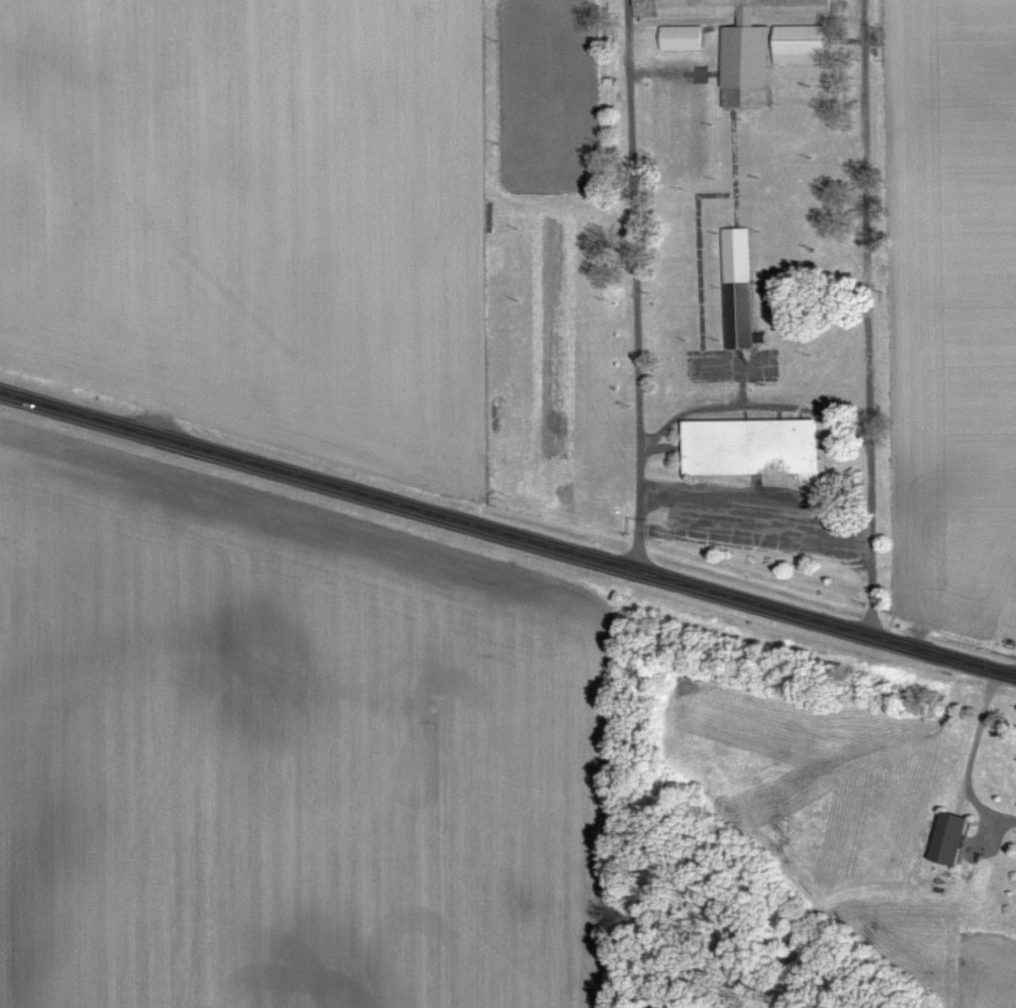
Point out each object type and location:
building: (682, 38)
building: (801, 45)
road: (636, 285)
building: (740, 289)
road: (868, 318)
building: (751, 447)
road: (508, 534)
road: (972, 757)
building: (950, 840)

